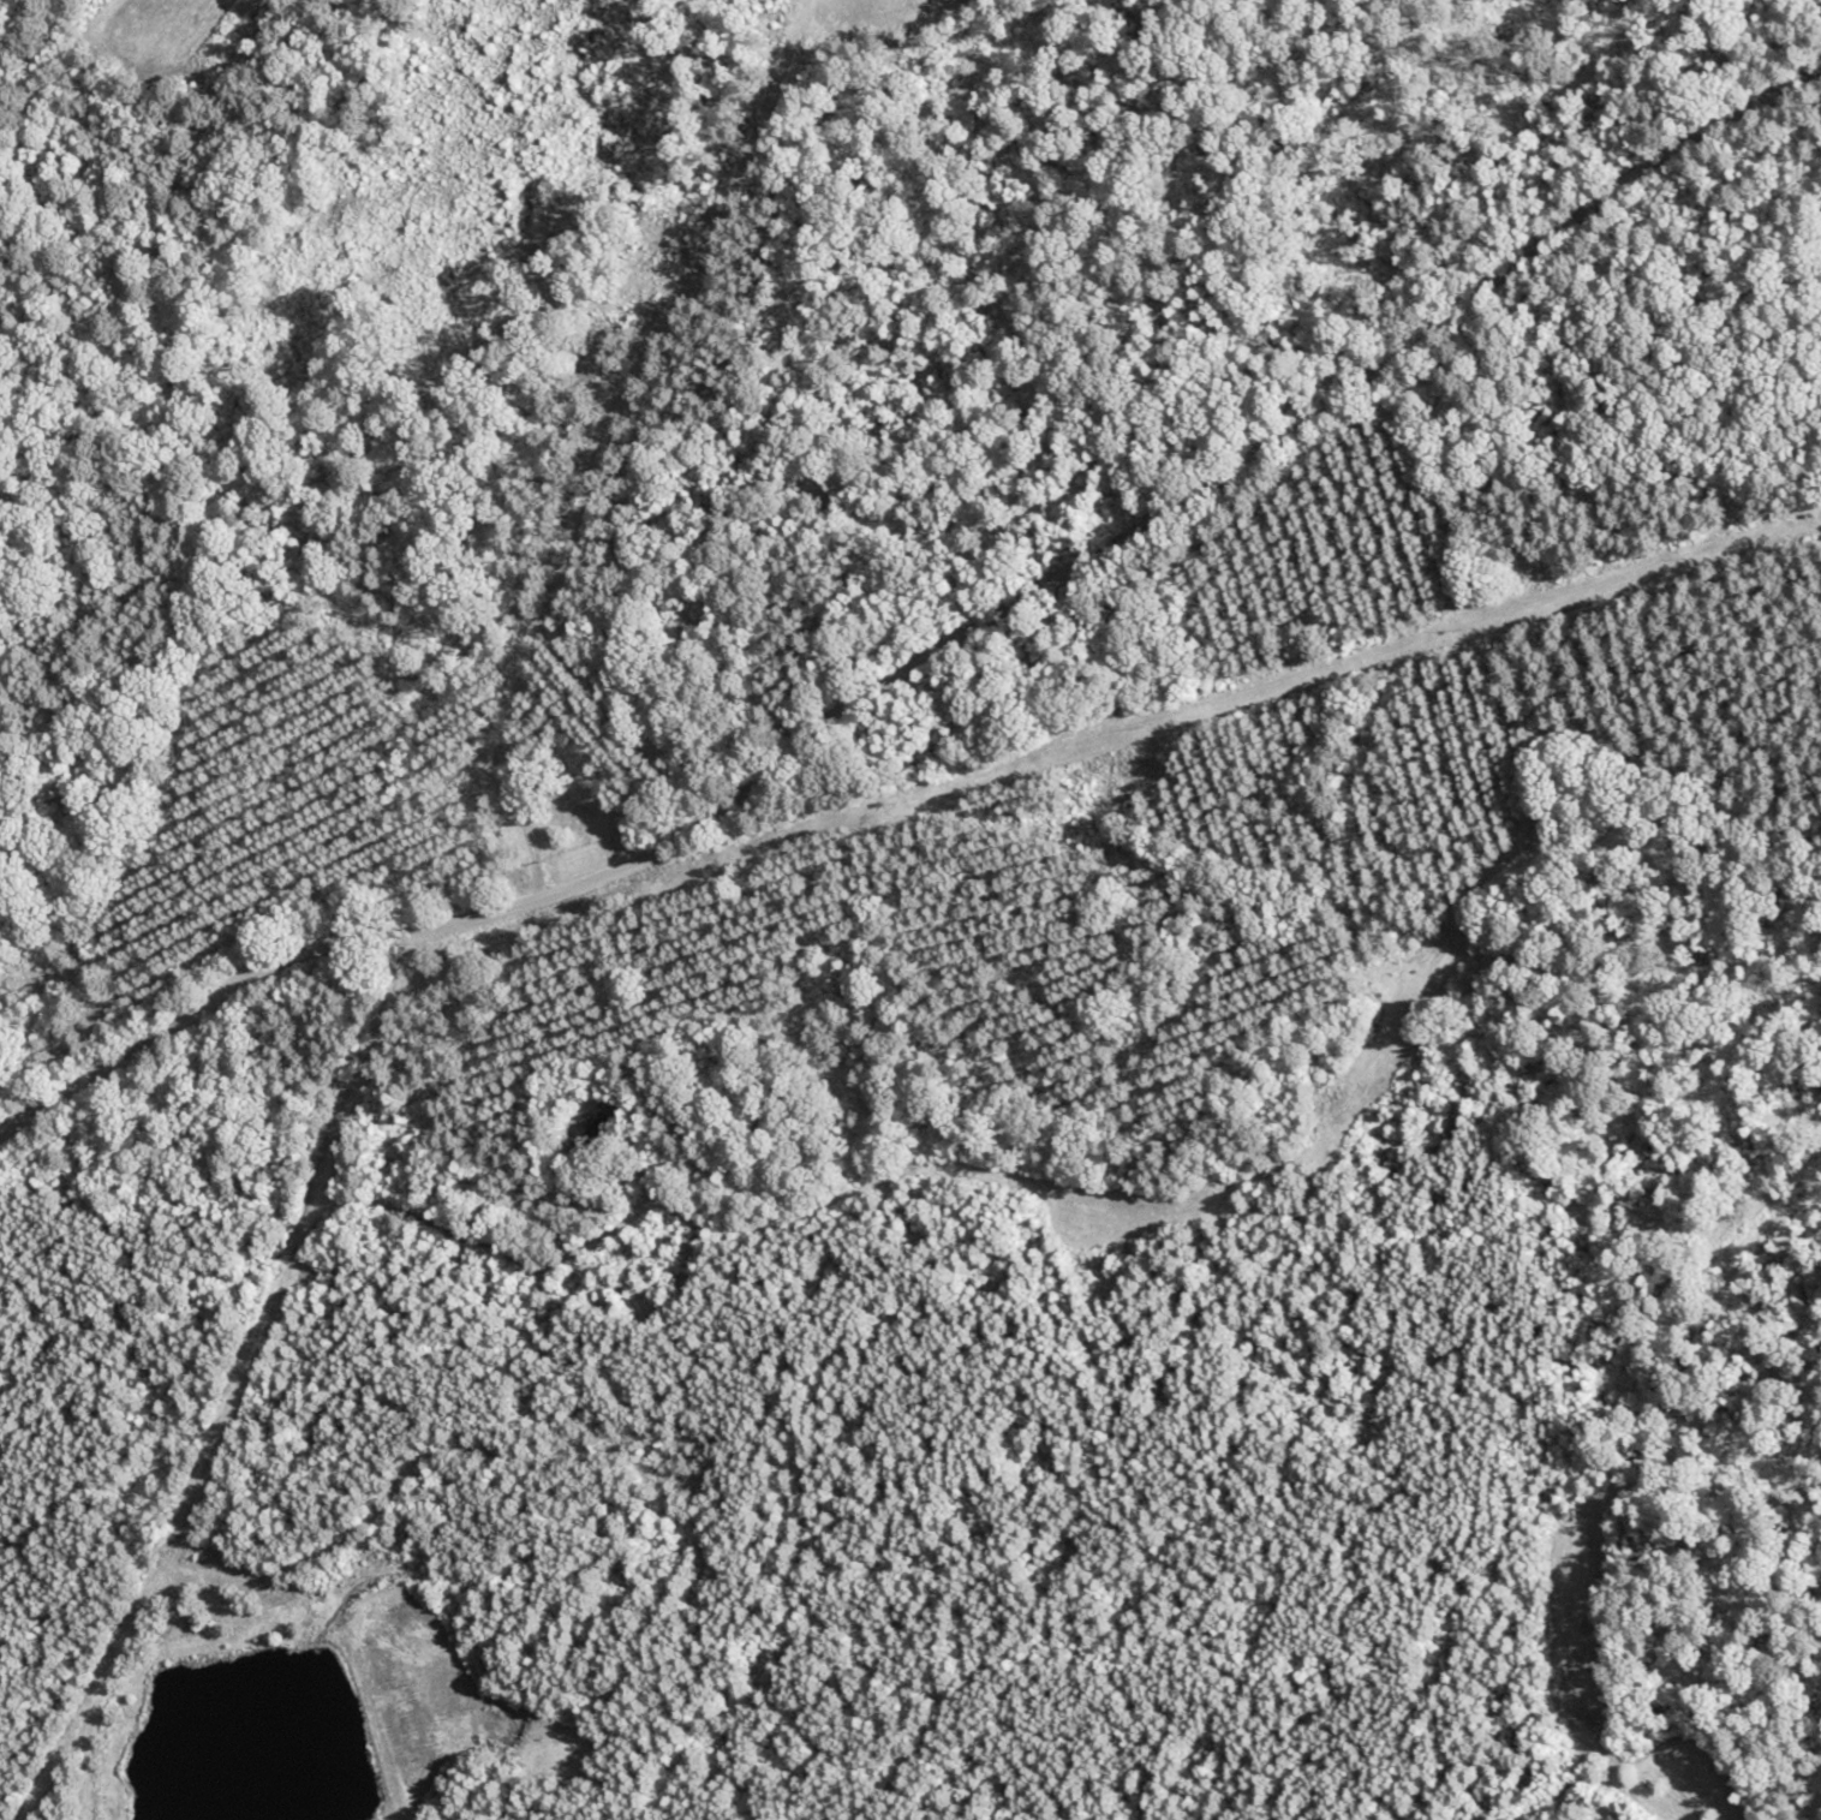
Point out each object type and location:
road: (938, 652)

